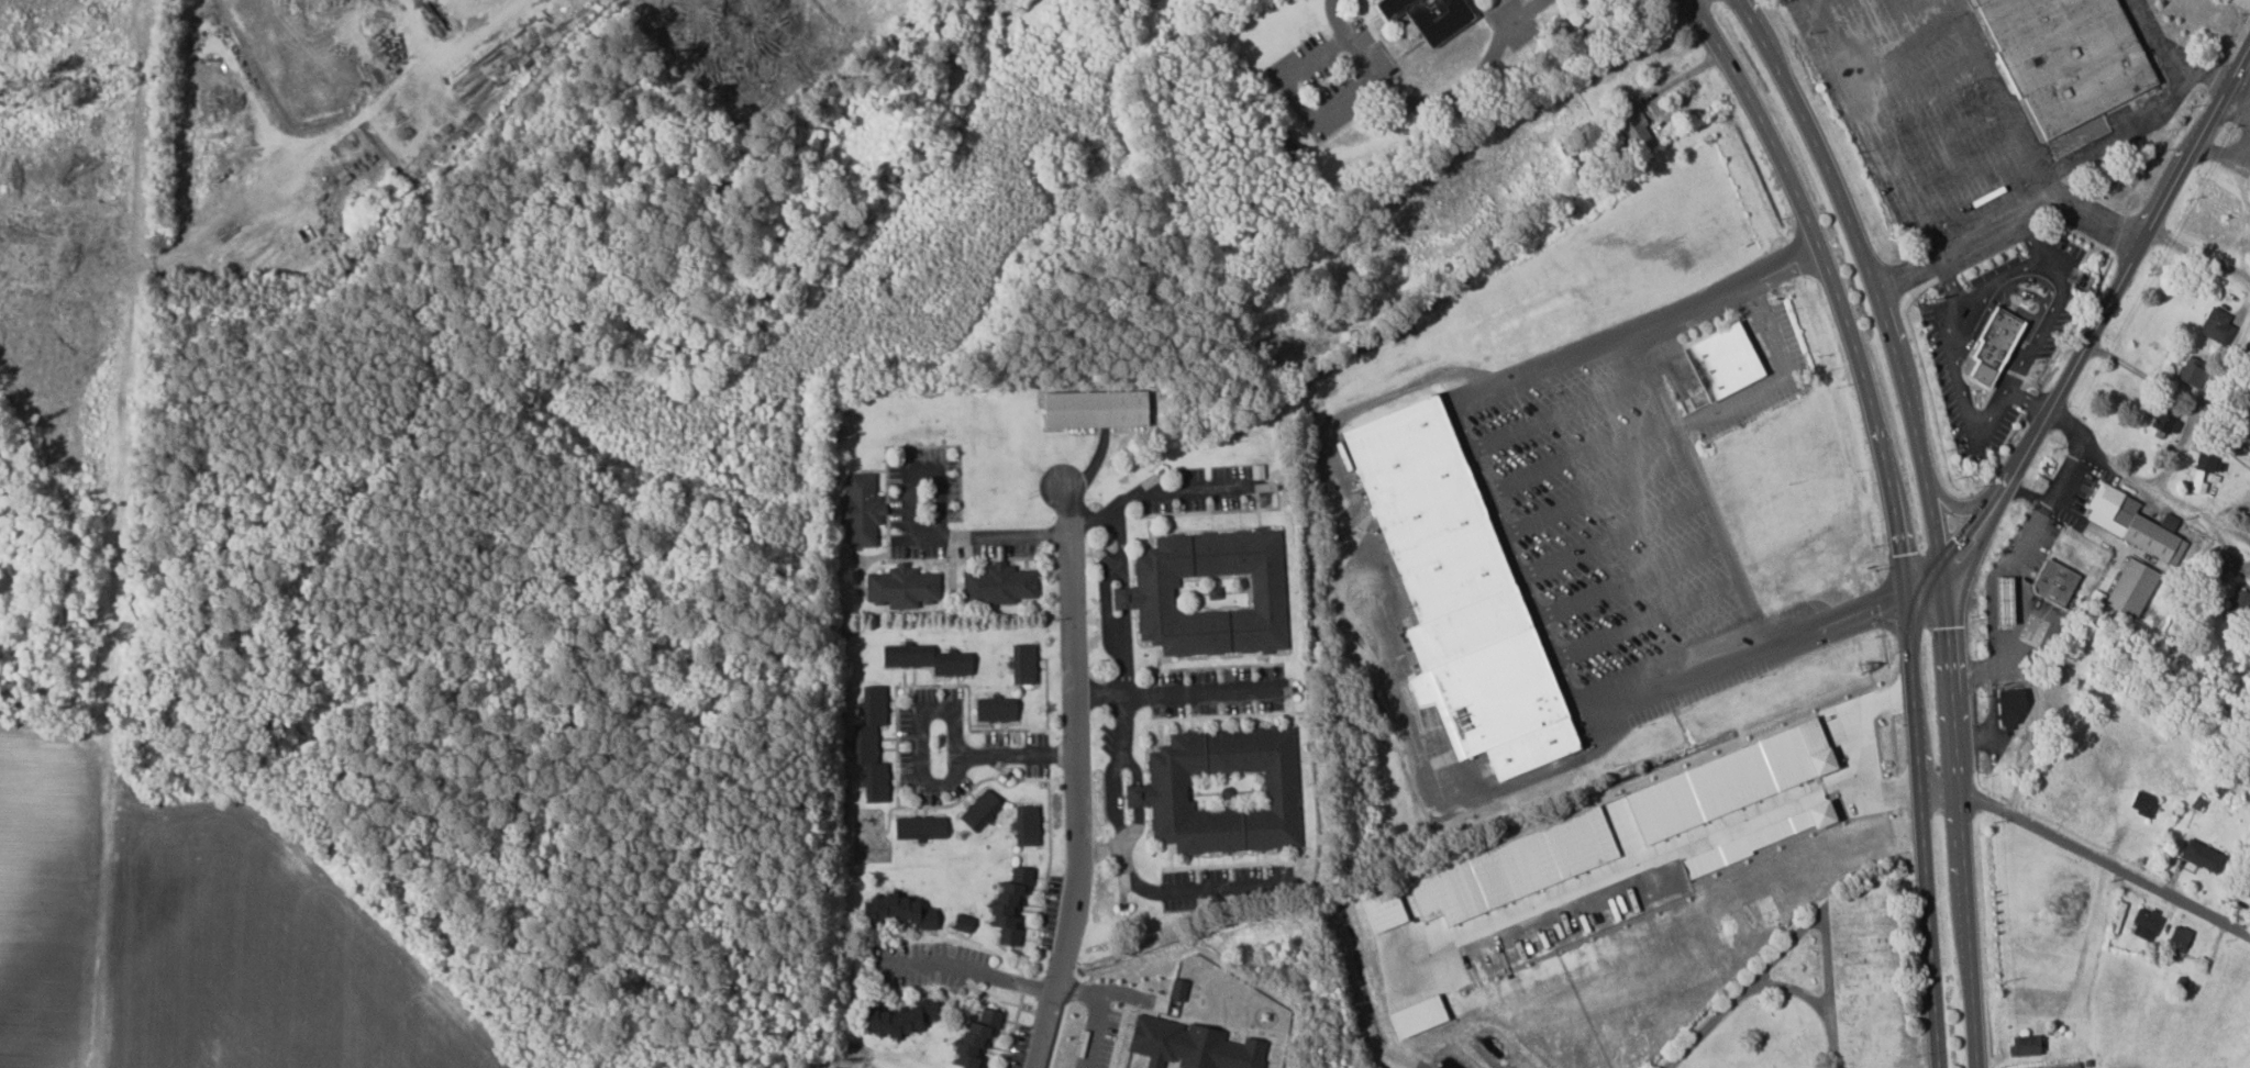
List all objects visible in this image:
building: (1429, 15)
building: (1598, 22)
road: (2168, 55)
building: (2059, 67)
road: (1431, 102)
building: (1629, 123)
road: (1869, 129)
road: (2122, 137)
road: (2039, 204)
road: (2031, 241)
road: (1906, 274)
road: (1948, 279)
building: (2217, 326)
road: (2092, 330)
road: (2237, 340)
building: (1722, 360)
road: (2021, 364)
building: (2192, 371)
road: (2140, 374)
road: (1663, 400)
road: (2027, 400)
building: (1094, 409)
building: (2163, 419)
building: (2205, 463)
building: (2196, 480)
road: (2140, 483)
road: (1181, 492)
building: (860, 510)
road: (1892, 514)
road: (1933, 516)
road: (1089, 519)
building: (2131, 524)
road: (909, 525)
road: (1120, 535)
road: (2004, 560)
traffic signals: (1946, 570)
building: (2053, 582)
building: (999, 585)
building: (901, 587)
building: (2130, 588)
building: (1208, 592)
traffic signals: (1906, 593)
building: (1461, 598)
building: (2004, 600)
building: (2238, 604)
road: (1107, 628)
road: (1756, 652)
building: (926, 659)
building: (1021, 664)
road: (1177, 693)
building: (2009, 708)
building: (994, 709)
road: (1992, 719)
building: (871, 744)
road: (1862, 746)
road: (1076, 778)
road: (935, 783)
building: (1221, 791)
building: (2143, 803)
building: (2068, 804)
building: (978, 810)
building: (1026, 826)
building: (919, 828)
building: (1756, 839)
road: (2087, 850)
road: (1101, 852)
building: (2202, 856)
road: (1639, 861)
building: (1564, 867)
road: (1126, 868)
building: (1009, 905)
building: (899, 912)
building: (962, 923)
building: (2146, 924)
building: (2181, 937)
road: (961, 969)
park: (1821, 987)
building: (1177, 990)
road: (1096, 1014)
building: (900, 1020)
building: (975, 1038)
building: (1190, 1046)
building: (2026, 1046)

